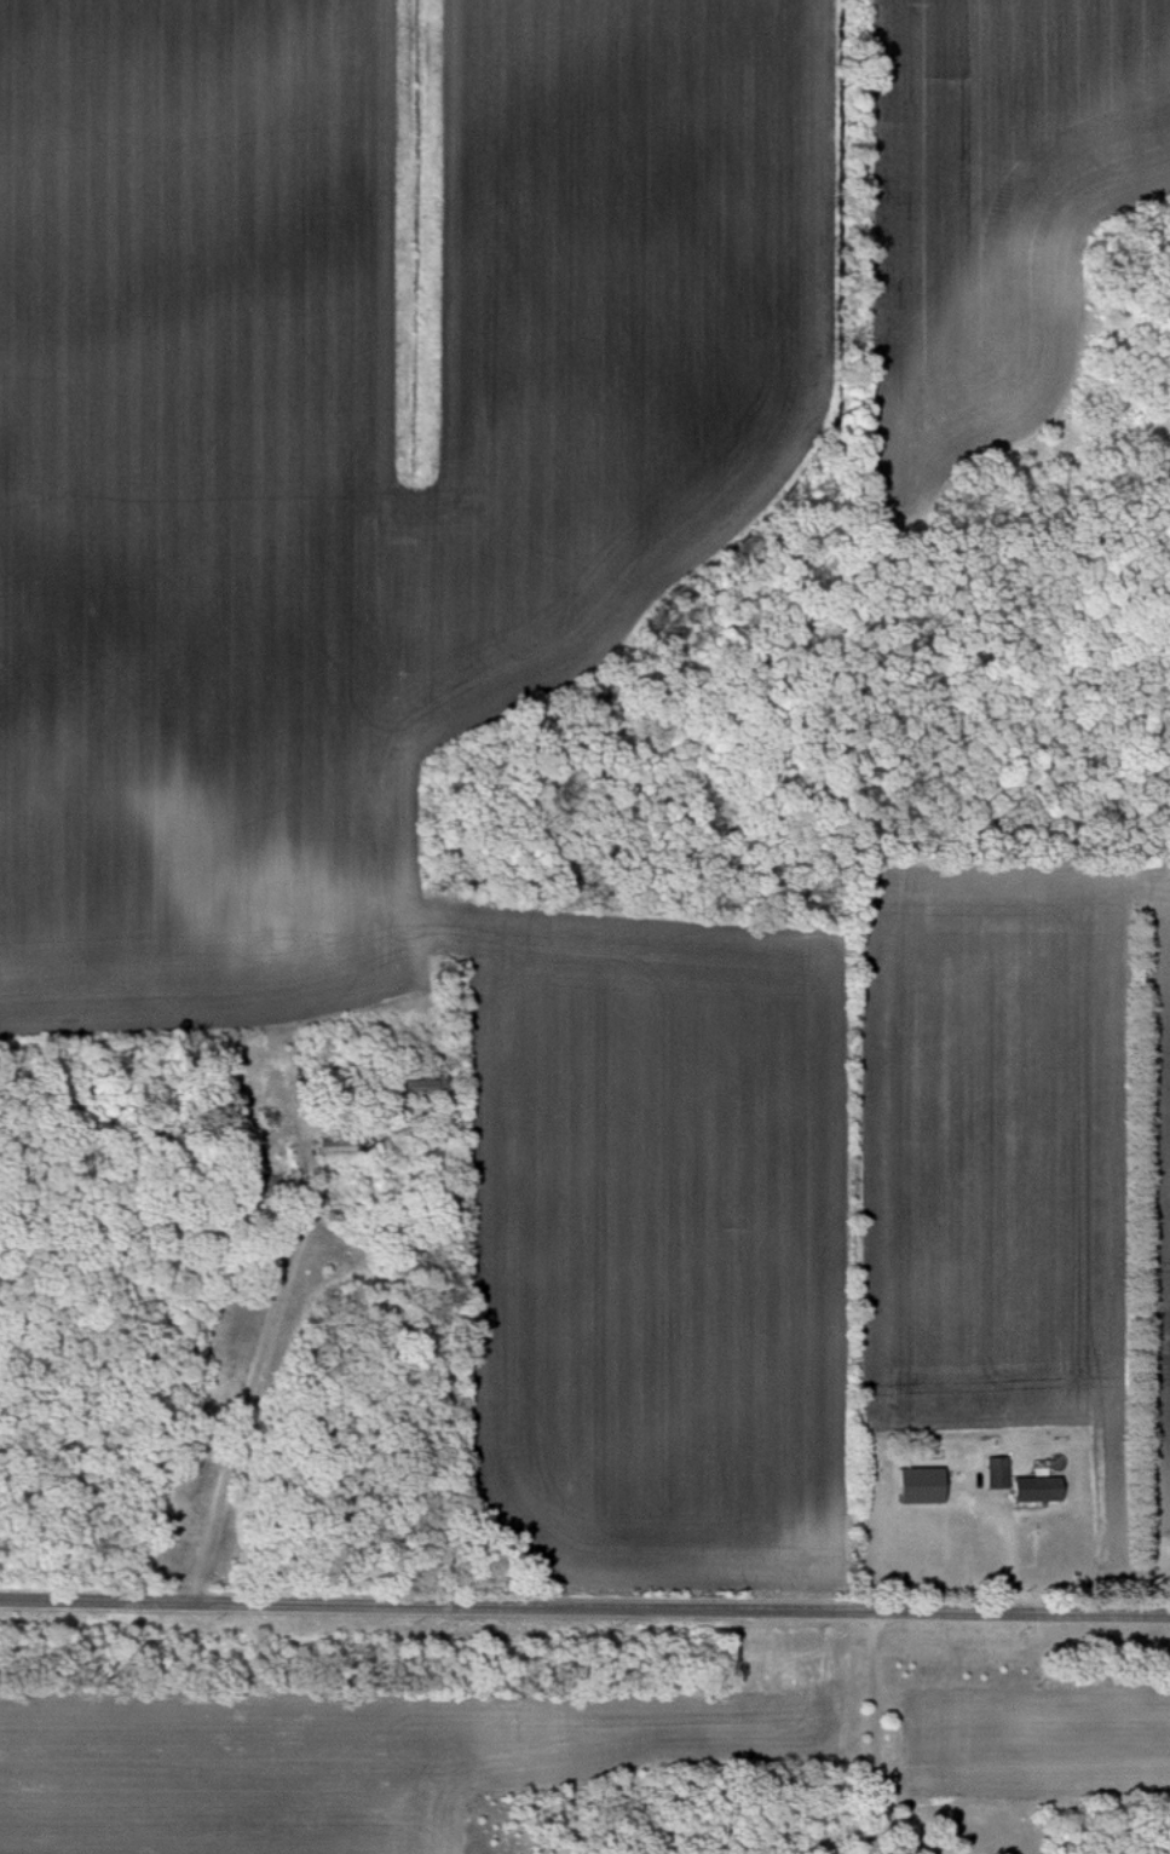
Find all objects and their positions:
building: (423, 1086)
building: (338, 1145)
building: (258, 1187)
road: (253, 1387)
building: (997, 1472)
building: (921, 1485)
building: (1037, 1487)
road: (584, 1600)

